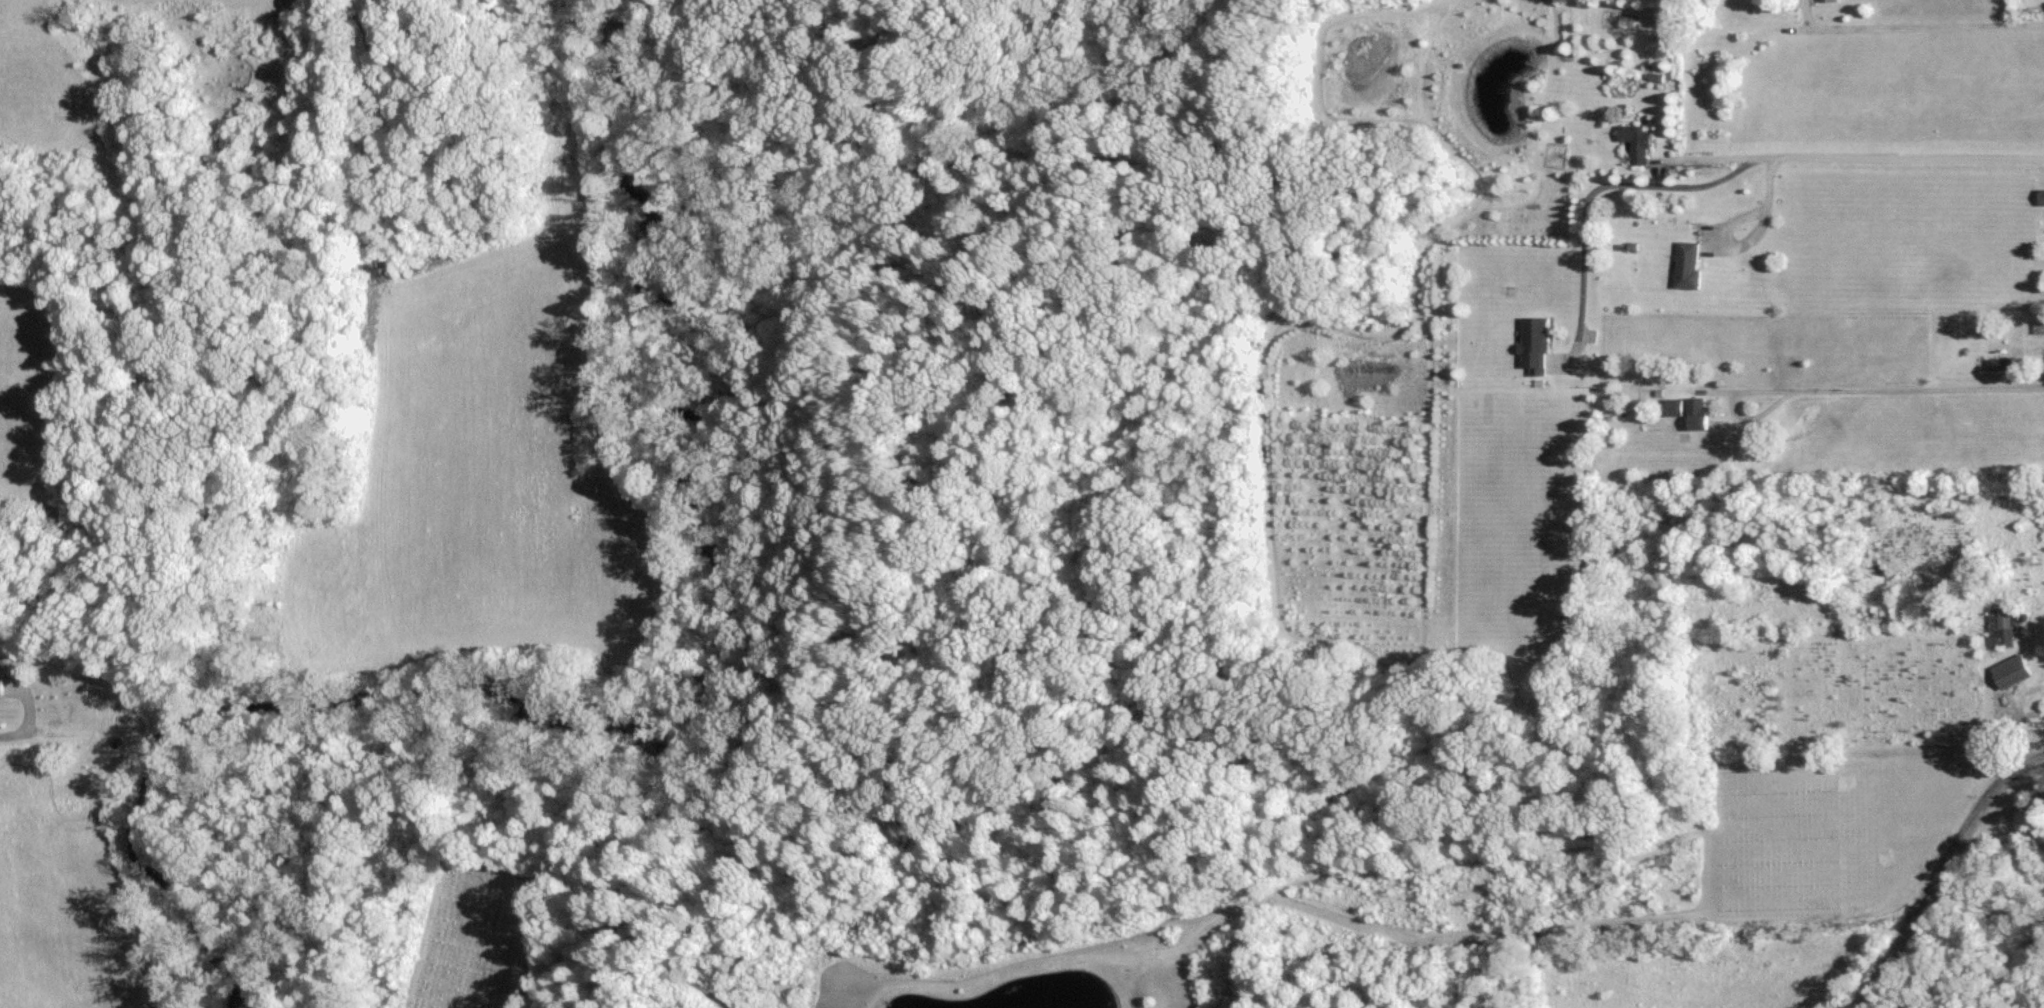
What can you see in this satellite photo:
building: (1830, 0)
road: (1920, 16)
building: (1643, 145)
road: (1709, 146)
road: (1729, 162)
building: (2042, 197)
road: (1748, 234)
building: (1539, 346)
building: (2002, 364)
road: (1919, 379)
road: (1734, 397)
building: (1693, 410)
building: (2002, 626)
building: (2013, 670)
building: (119, 721)
road: (33, 726)
road: (1941, 870)

